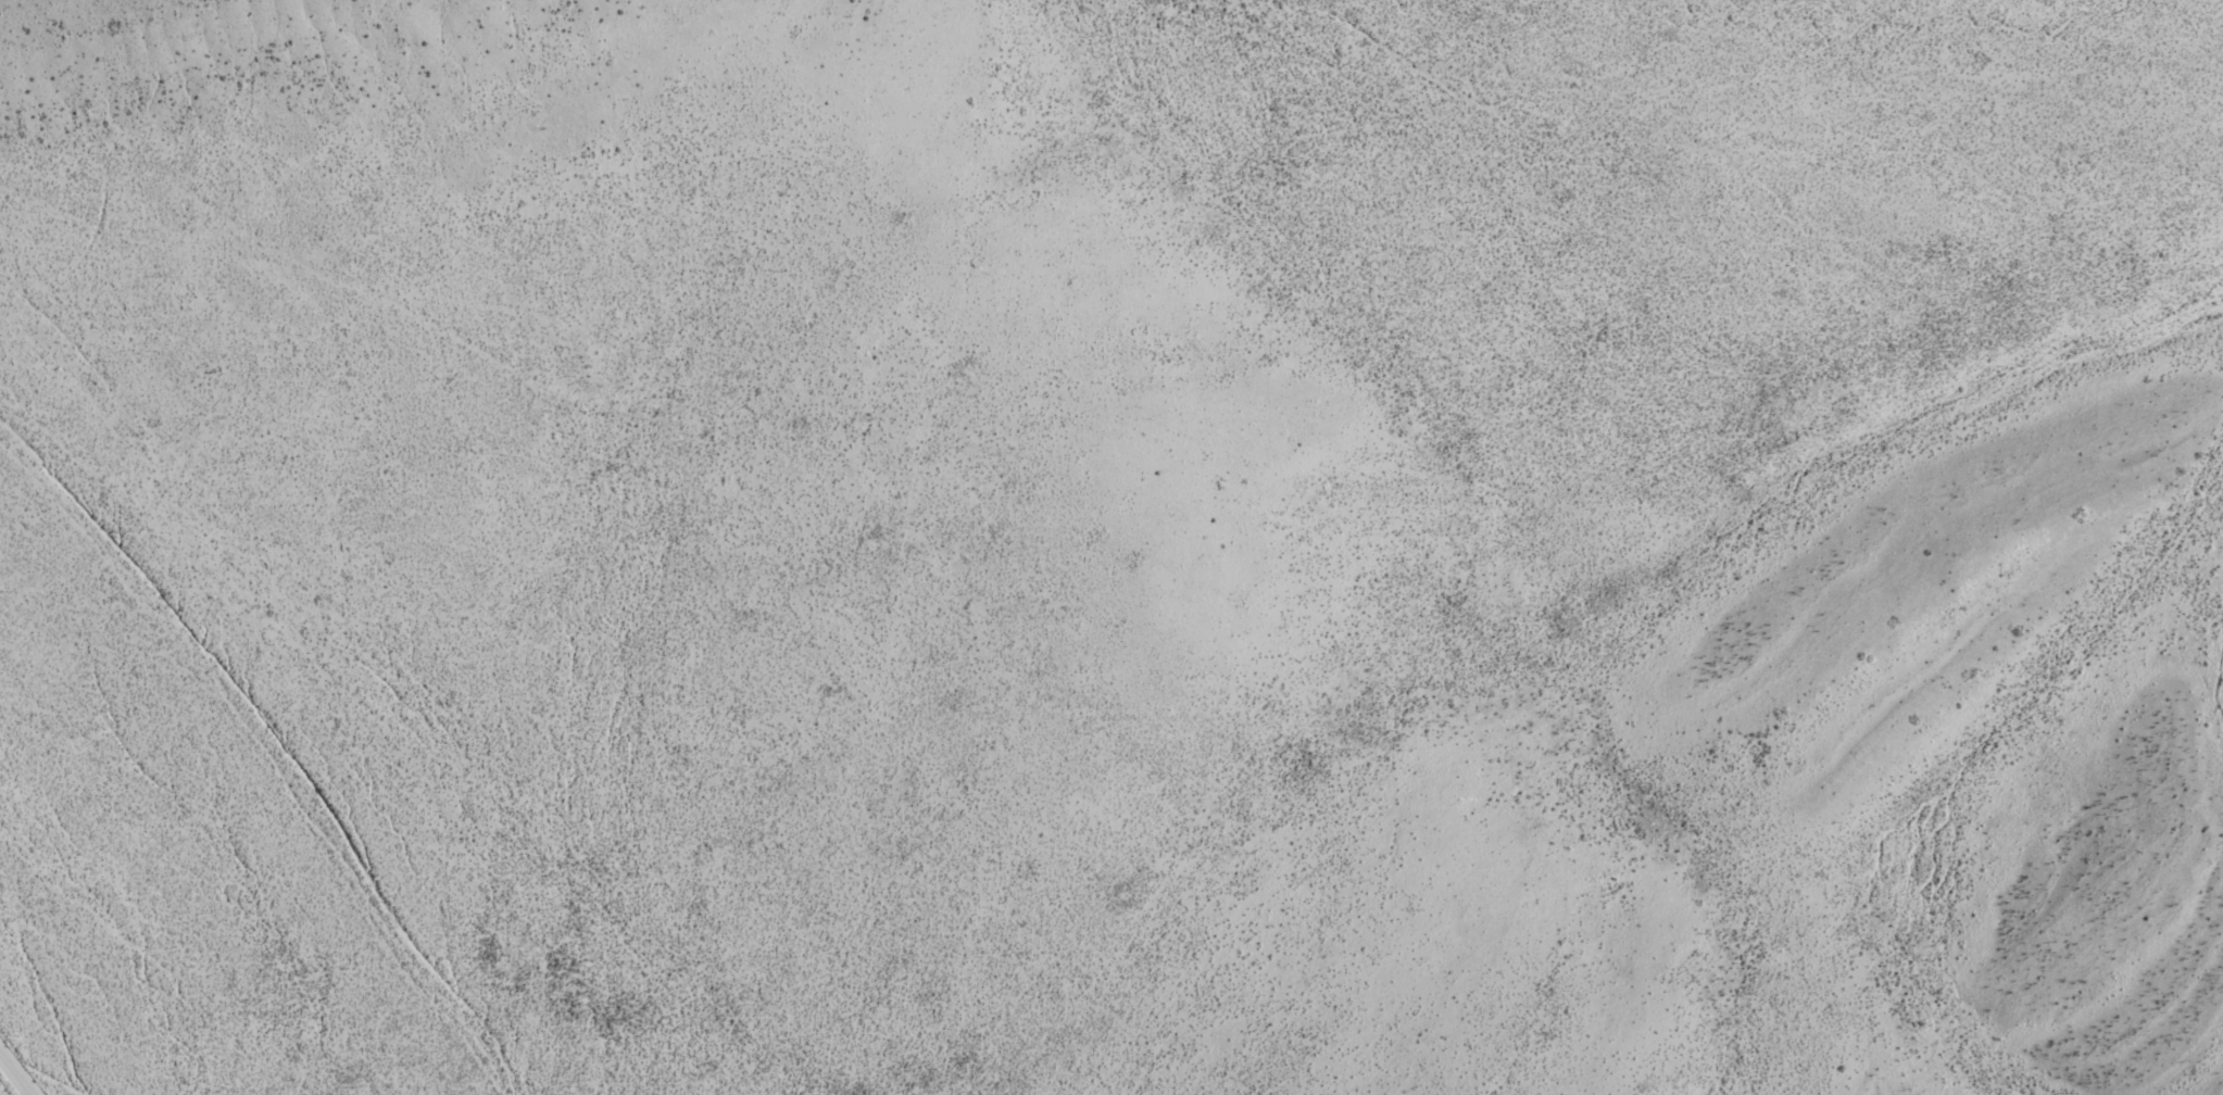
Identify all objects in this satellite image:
road: (15, 1074)

